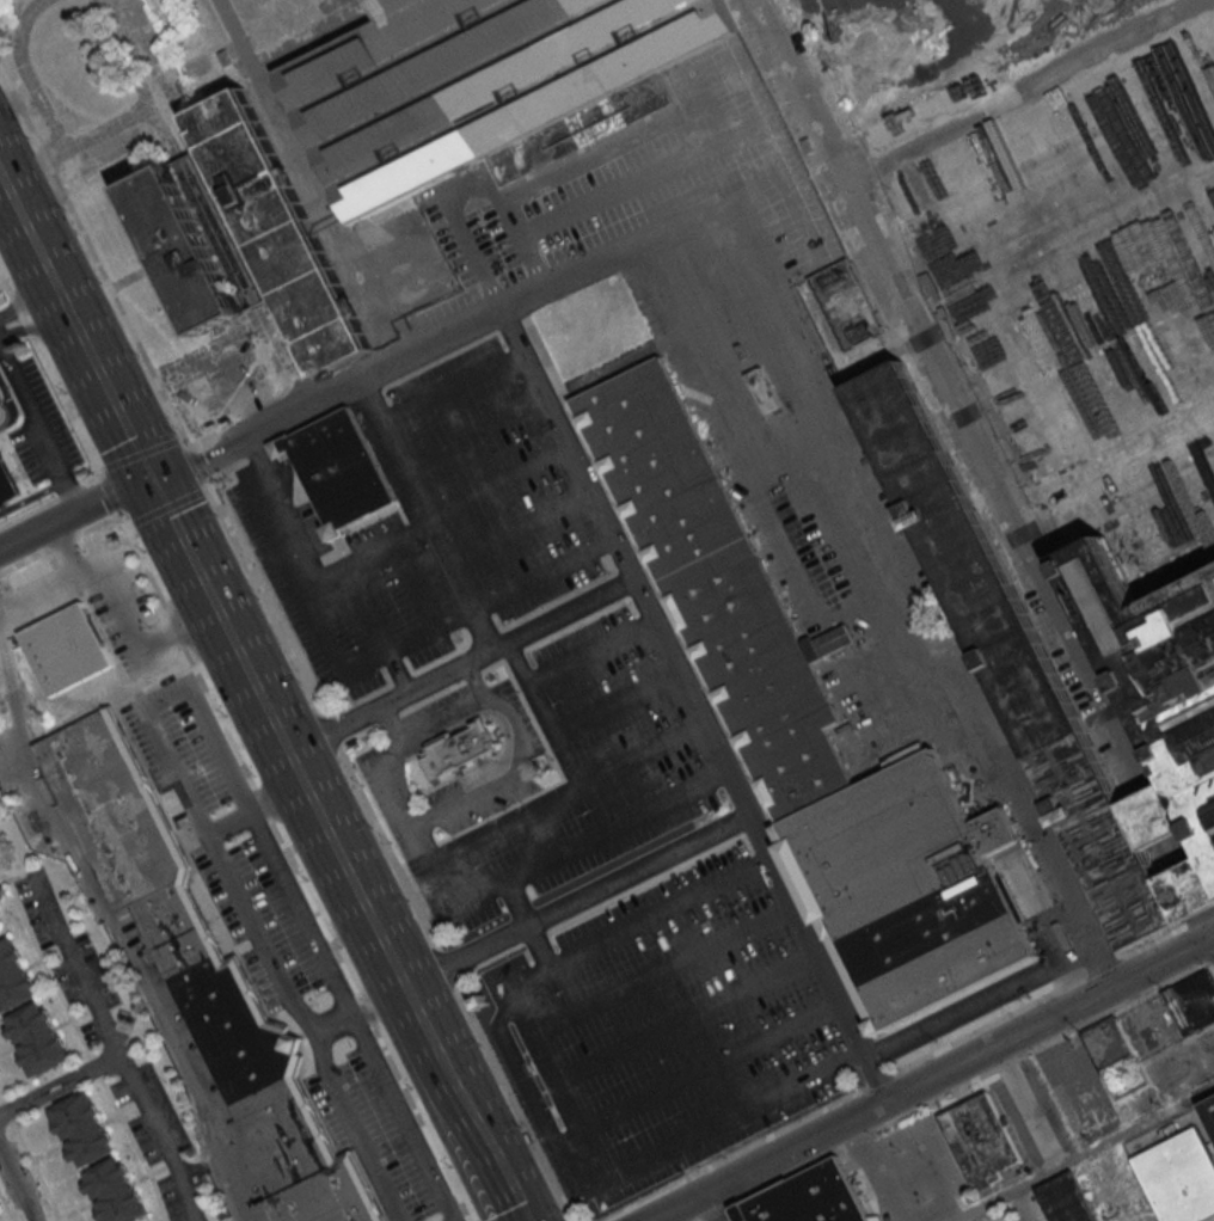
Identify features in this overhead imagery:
road: (26, 73)
building: (472, 84)
road: (25, 94)
road: (146, 96)
road: (20, 108)
building: (1111, 112)
road: (69, 113)
road: (166, 122)
building: (576, 135)
road: (54, 152)
road: (1044, 161)
road: (51, 170)
parking lot: (640, 186)
building: (221, 233)
building: (278, 233)
building: (180, 253)
road: (129, 275)
road: (1007, 280)
road: (540, 281)
road: (6, 286)
road: (26, 299)
building: (847, 312)
road: (24, 321)
road: (127, 321)
road: (36, 323)
road: (78, 324)
road: (446, 340)
road: (195, 354)
road: (295, 357)
building: (761, 388)
road: (949, 397)
road: (4, 405)
road: (7, 406)
road: (70, 411)
road: (38, 431)
road: (1110, 464)
road: (200, 466)
traffic signals: (153, 474)
building: (342, 474)
building: (6, 481)
parking lot: (497, 481)
traffic signals: (159, 489)
road: (31, 496)
road: (112, 497)
road: (76, 511)
road: (424, 517)
road: (149, 565)
road: (308, 566)
road: (901, 582)
building: (718, 585)
road: (37, 596)
road: (268, 600)
parking lot: (351, 601)
road: (121, 605)
road: (222, 615)
road: (183, 634)
road: (505, 642)
building: (65, 649)
building: (1014, 654)
building: (1185, 657)
road: (164, 695)
building: (1172, 699)
road: (693, 706)
road: (545, 714)
road: (443, 723)
road: (390, 724)
road: (336, 728)
road: (336, 735)
building: (1202, 735)
road: (233, 737)
building: (456, 748)
road: (517, 760)
road: (299, 766)
parking lot: (582, 778)
road: (400, 787)
road: (312, 793)
road: (278, 796)
road: (550, 803)
building: (1159, 814)
road: (228, 821)
road: (392, 852)
road: (569, 853)
road: (1175, 853)
road: (345, 861)
building: (908, 883)
building: (1191, 885)
building: (2, 894)
road: (577, 898)
road: (517, 904)
road: (314, 906)
road: (301, 912)
road: (660, 914)
road: (1209, 921)
road: (116, 934)
road: (257, 934)
parking lot: (283, 944)
road: (390, 952)
road: (447, 968)
road: (1209, 968)
building: (201, 972)
building: (14, 976)
road: (997, 995)
road: (378, 999)
building: (1191, 1002)
road: (364, 1006)
road: (419, 1011)
road: (333, 1021)
parking lot: (660, 1032)
building: (37, 1038)
building: (1108, 1043)
road: (111, 1049)
road: (446, 1062)
road: (928, 1076)
road: (57, 1087)
road: (515, 1103)
building: (1209, 1111)
road: (403, 1117)
road: (423, 1123)
road: (351, 1127)
building: (82, 1129)
building: (976, 1137)
road: (1085, 1154)
road: (493, 1155)
road: (596, 1174)
building: (1178, 1177)
building: (115, 1191)
road: (13, 1192)
building: (807, 1197)
building: (1065, 1198)
road: (715, 1204)

